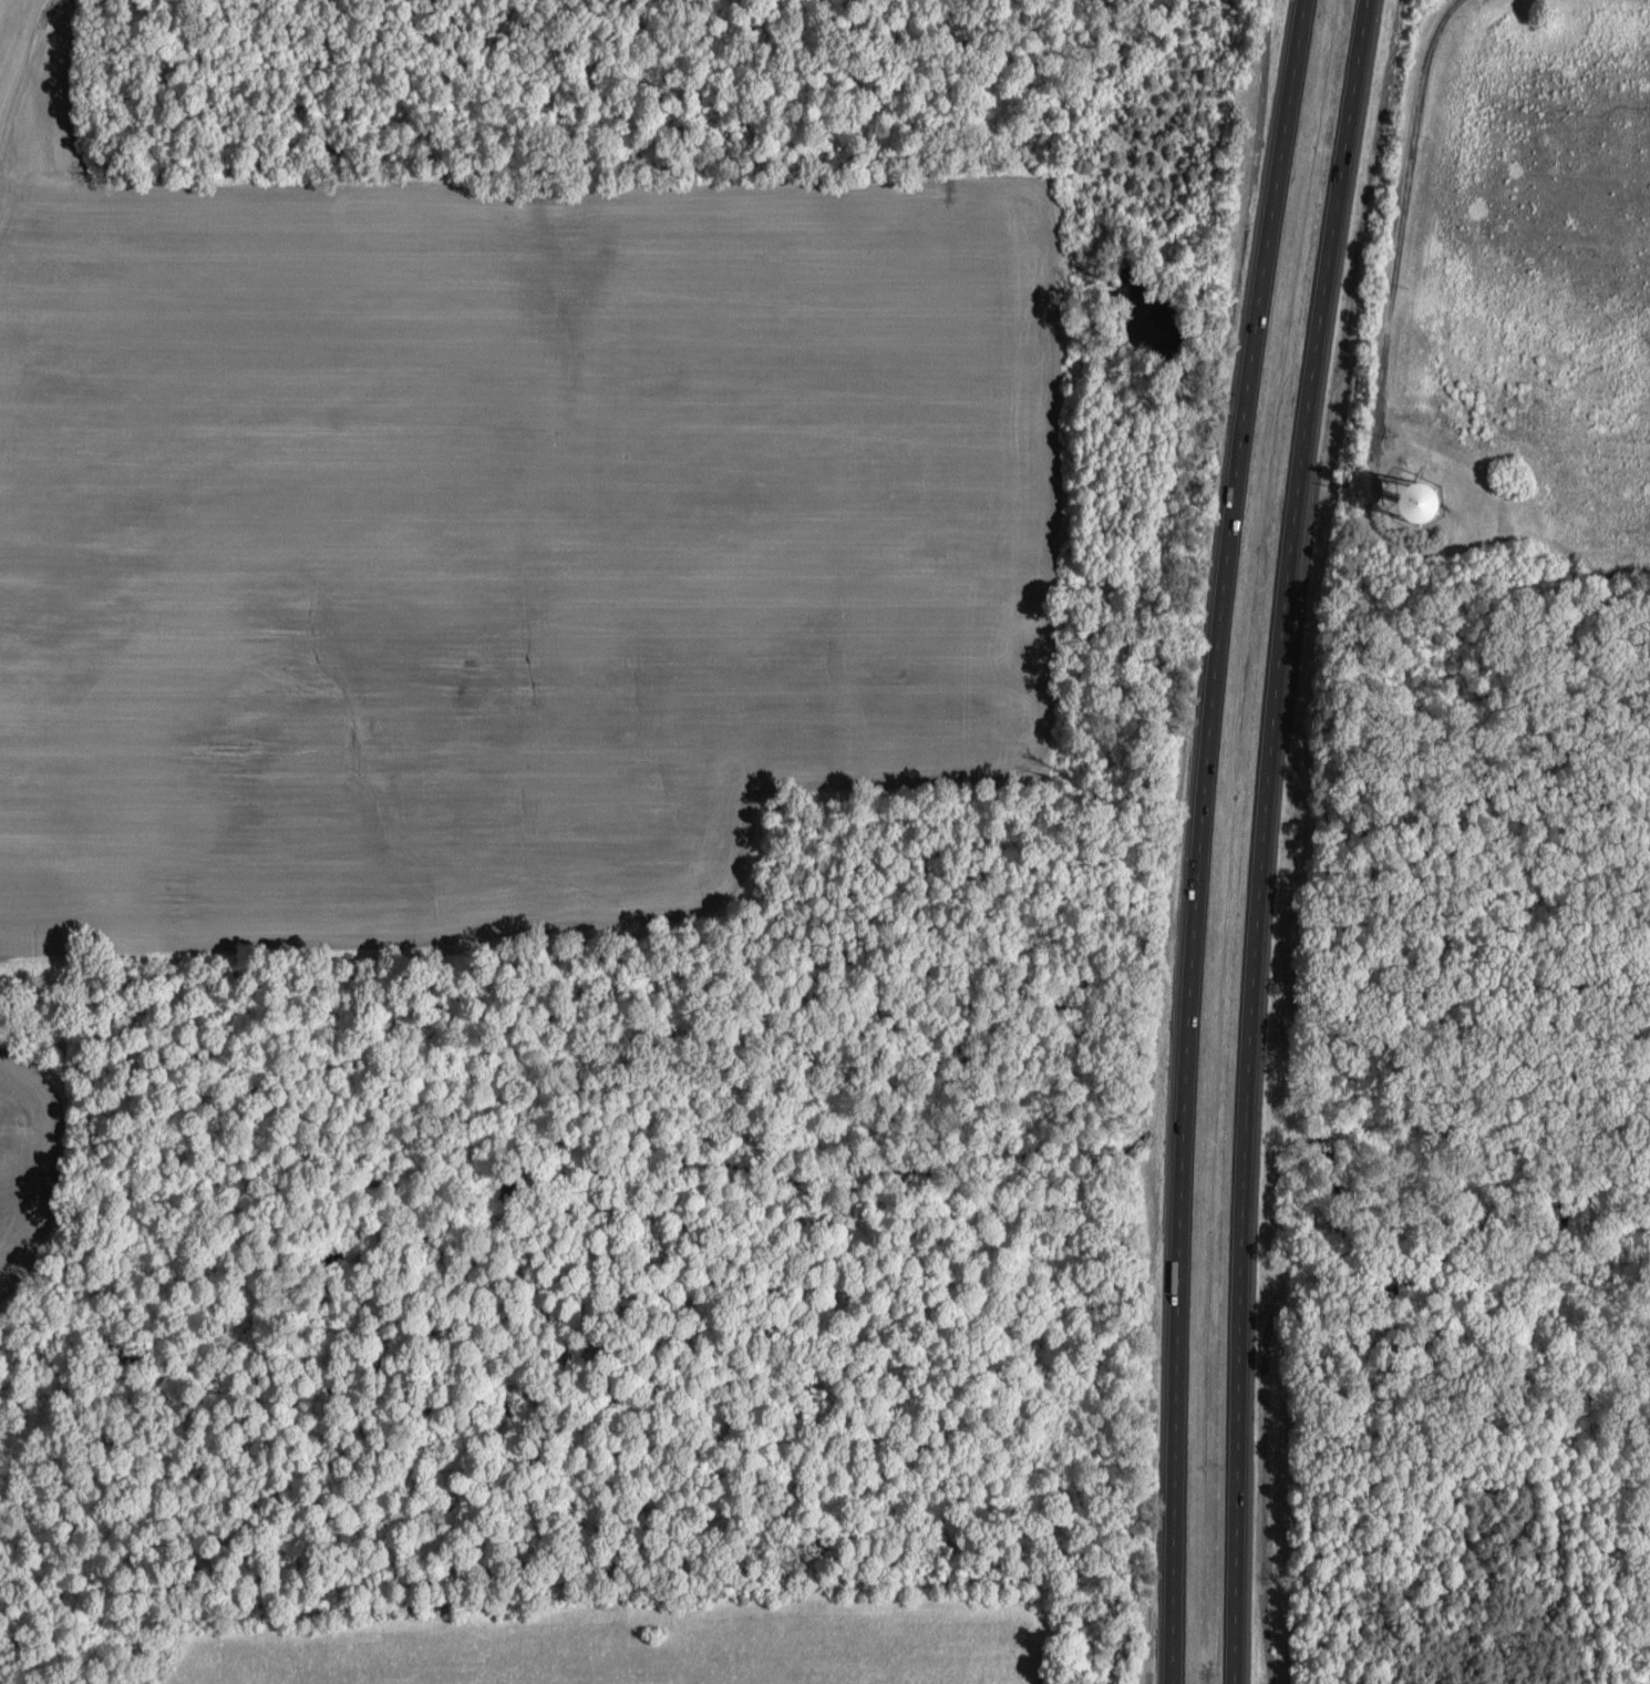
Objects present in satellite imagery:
road: (1202, 839)
road: (1261, 839)

